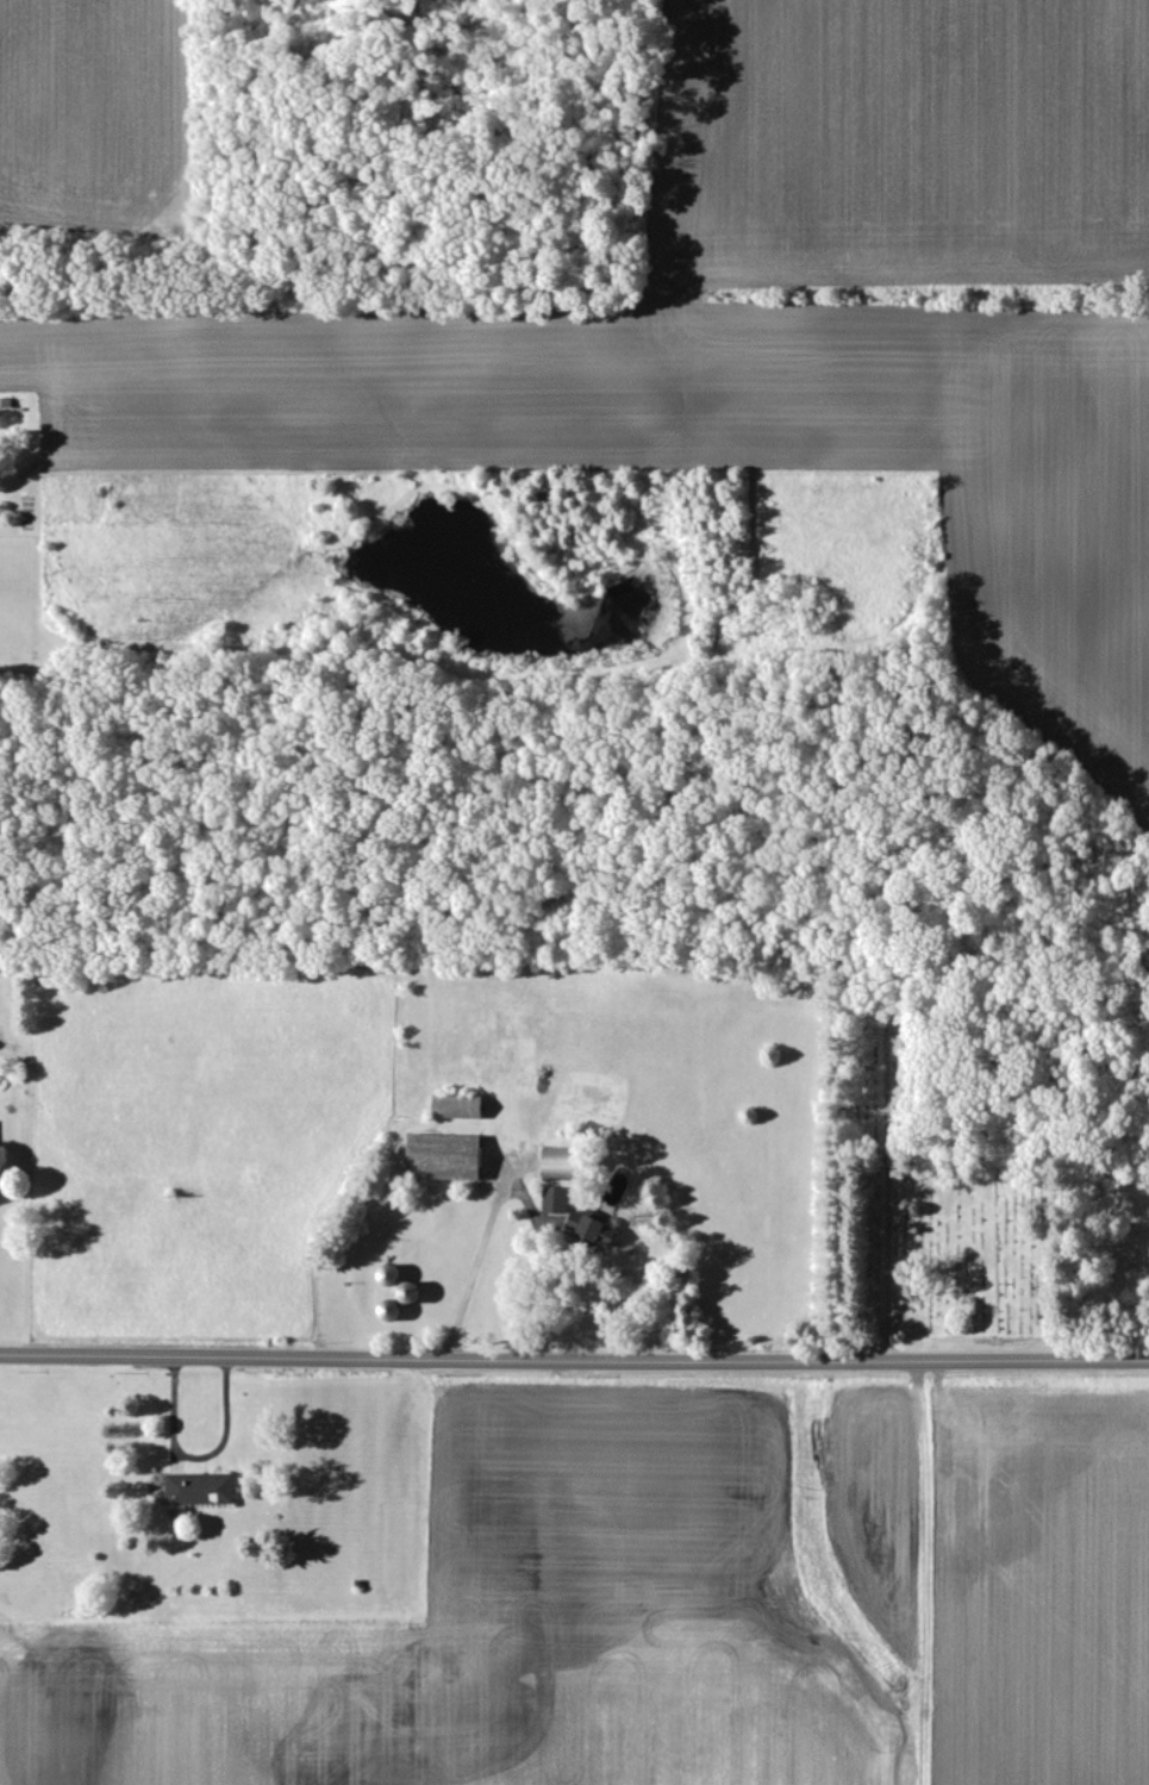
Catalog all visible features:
building: (455, 1107)
building: (441, 1157)
building: (550, 1165)
road: (511, 1194)
park: (938, 1211)
road: (574, 1358)
road: (202, 1460)
building: (208, 1491)

